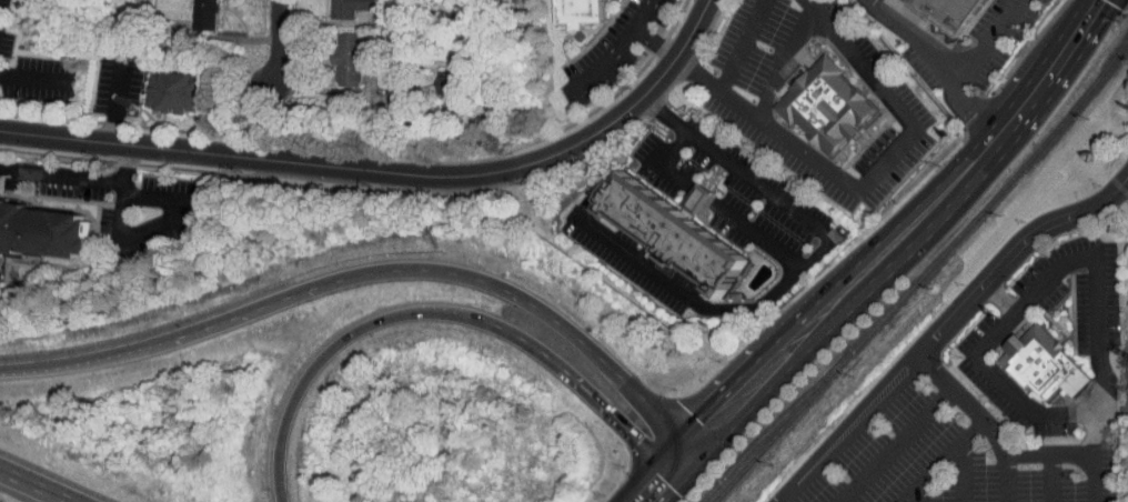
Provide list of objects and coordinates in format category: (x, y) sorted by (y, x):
building: (333, 4)
building: (192, 11)
building: (580, 11)
building: (954, 12)
road: (644, 13)
road: (276, 42)
road: (986, 42)
road: (620, 46)
road: (743, 46)
building: (334, 53)
road: (936, 60)
road: (784, 62)
building: (432, 76)
road: (33, 77)
building: (171, 91)
road: (117, 100)
building: (827, 108)
road: (389, 168)
road: (81, 174)
road: (865, 179)
building: (682, 194)
road: (713, 203)
road: (177, 217)
building: (42, 230)
building: (673, 233)
road: (896, 237)
road: (1011, 251)
road: (803, 263)
railway: (925, 273)
road: (367, 277)
road: (1035, 289)
road: (997, 298)
road: (436, 314)
building: (1036, 363)
road: (964, 402)
traffic signals: (704, 425)
road: (840, 425)
railway: (767, 432)
road: (852, 433)
railway: (776, 434)
traffic signals: (641, 438)
road: (893, 444)
road: (1048, 454)
road: (1092, 456)
road: (940, 461)
road: (960, 472)
traffic signals: (657, 473)
road: (653, 476)
road: (1005, 478)
road: (1051, 478)
road: (36, 485)
road: (919, 492)

